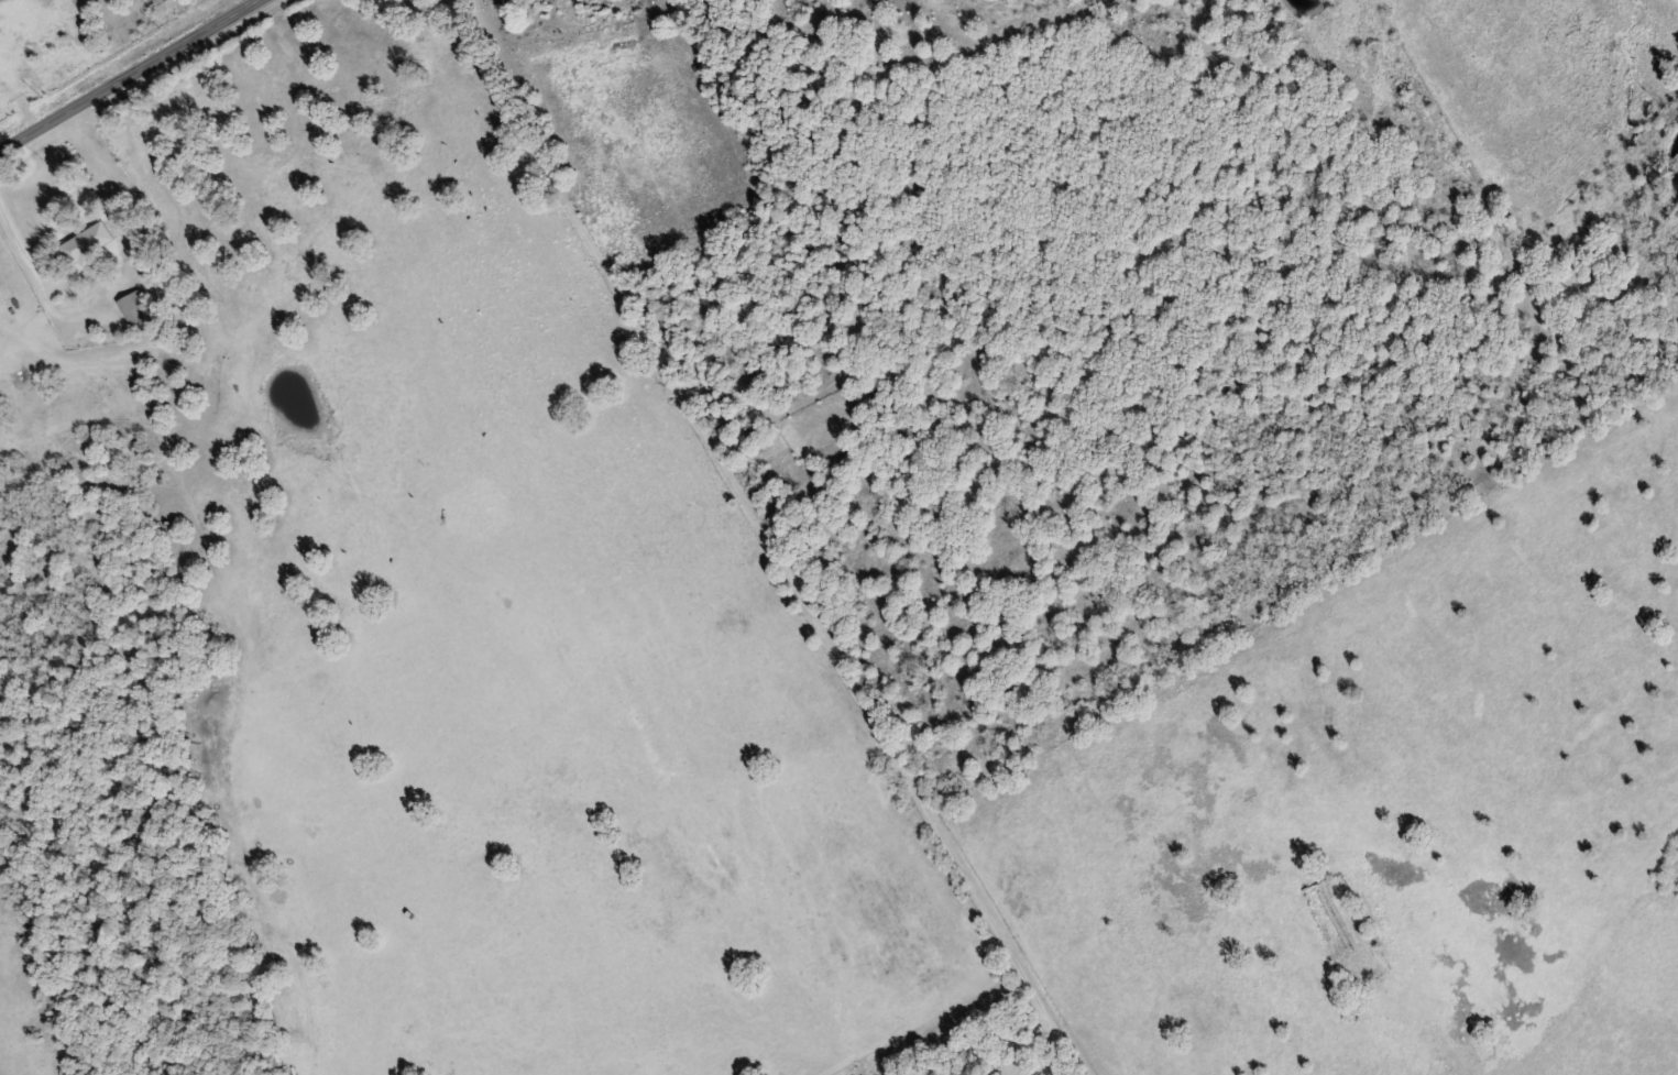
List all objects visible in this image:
road: (132, 76)
building: (88, 242)
building: (145, 262)
building: (134, 305)
road: (1459, 371)
road: (760, 540)

